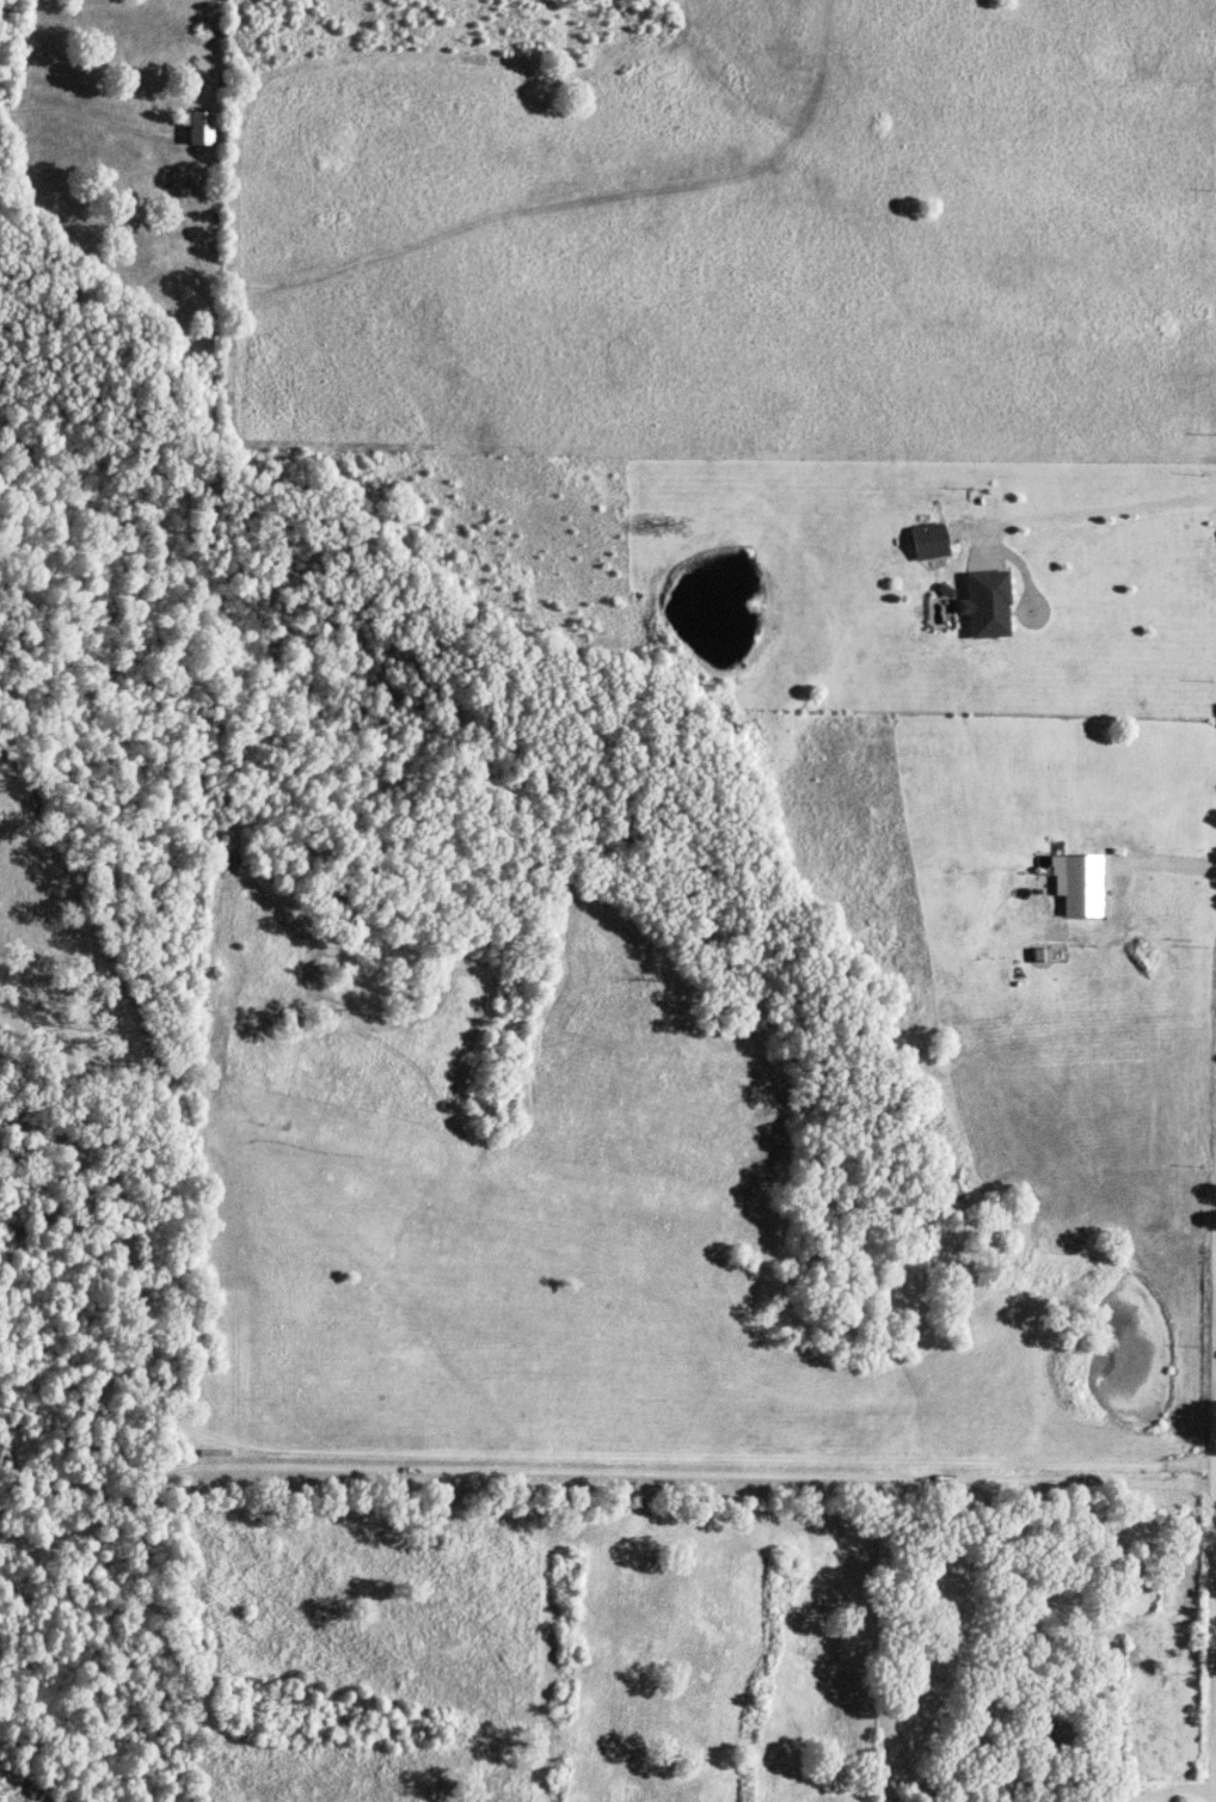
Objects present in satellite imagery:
building: (202, 128)
road: (1093, 511)
building: (931, 543)
building: (988, 606)
building: (1082, 885)
road: (457, 1451)
road: (1211, 1545)

